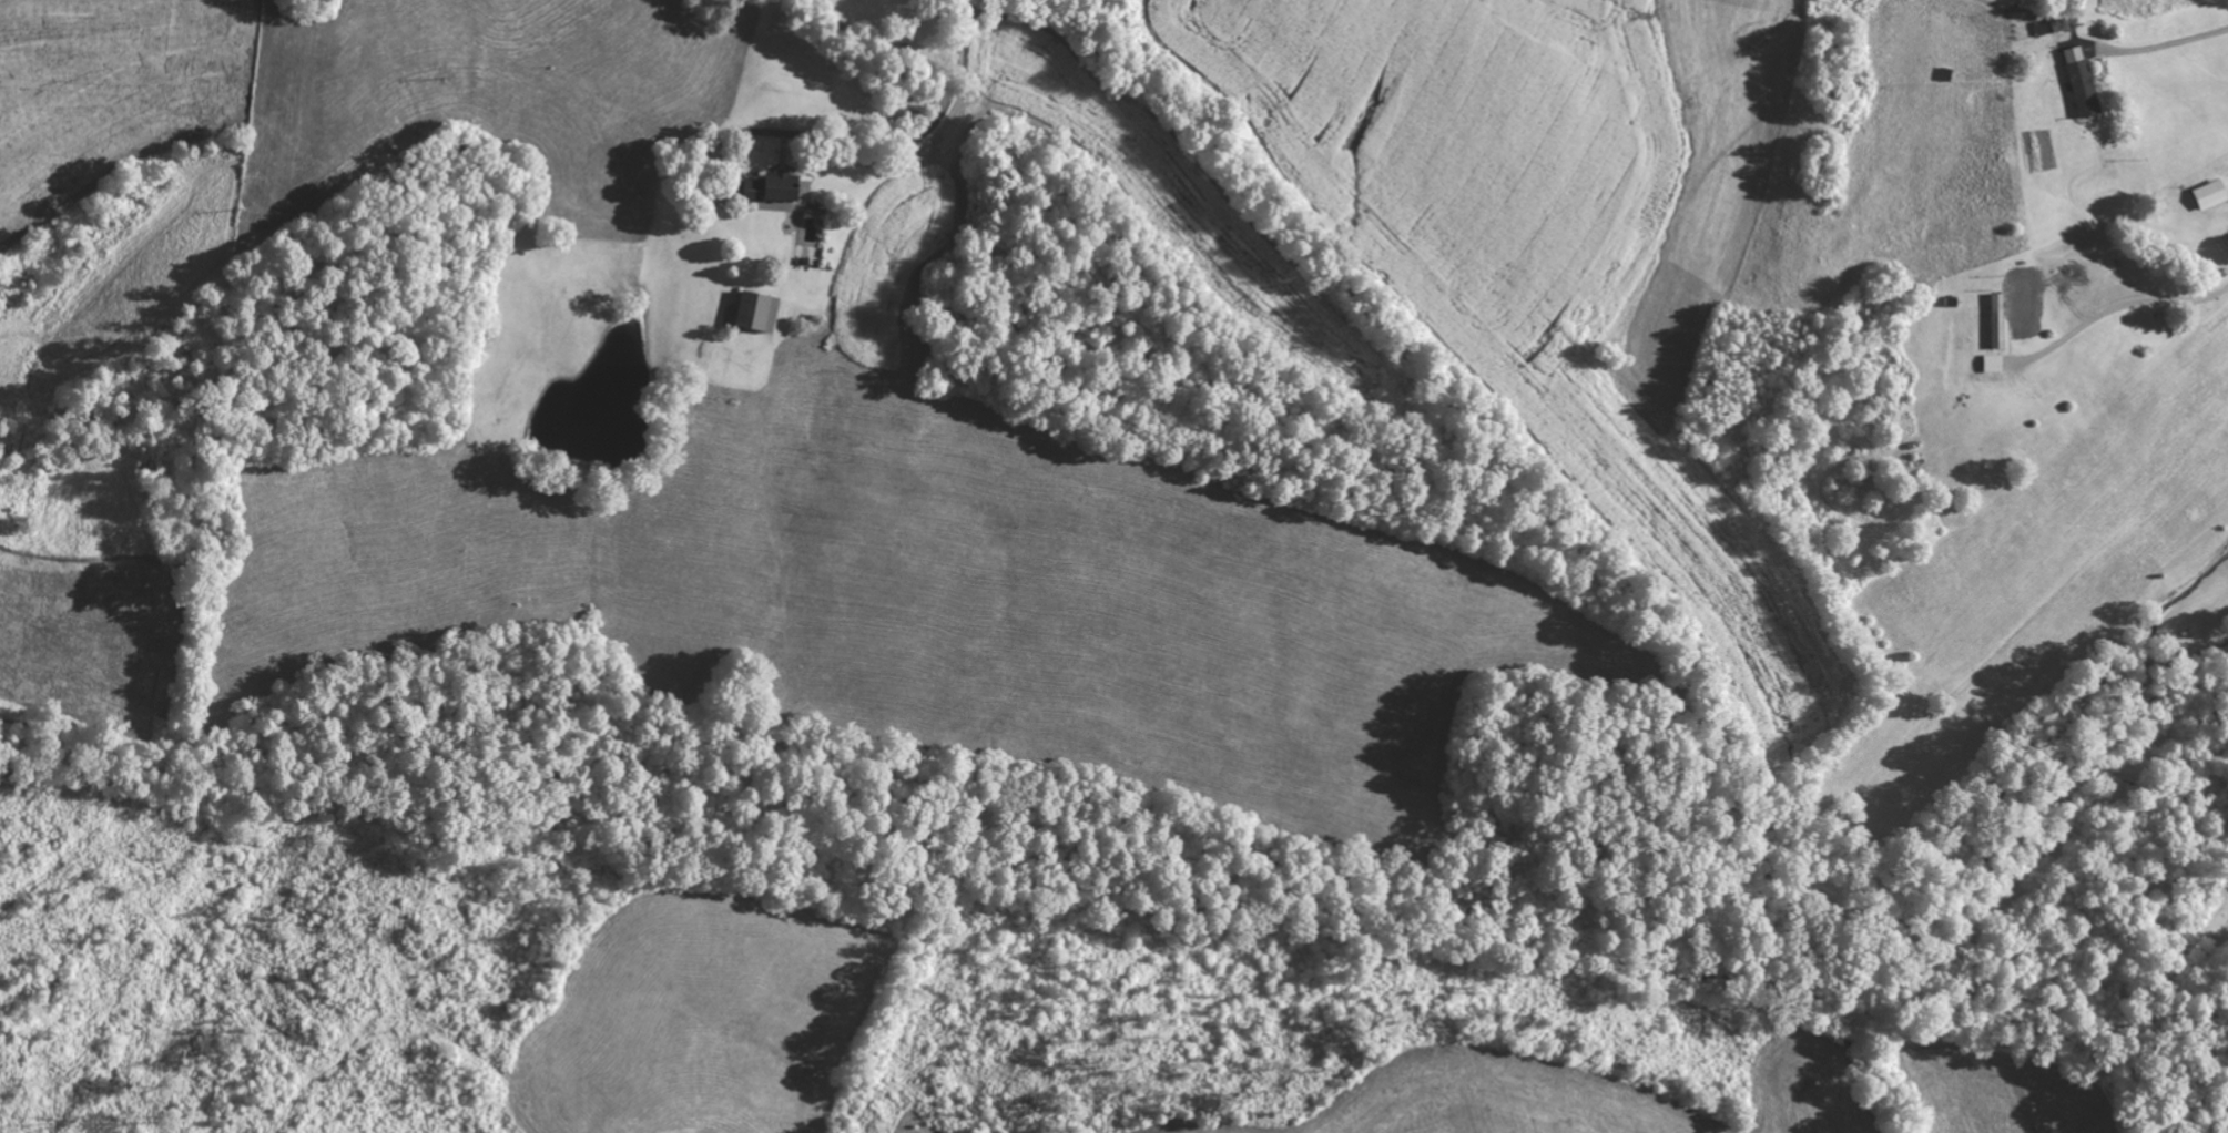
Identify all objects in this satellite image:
building: (2057, 25)
building: (2078, 81)
building: (767, 186)
building: (2207, 194)
road: (2120, 309)
building: (752, 310)
building: (1991, 363)

